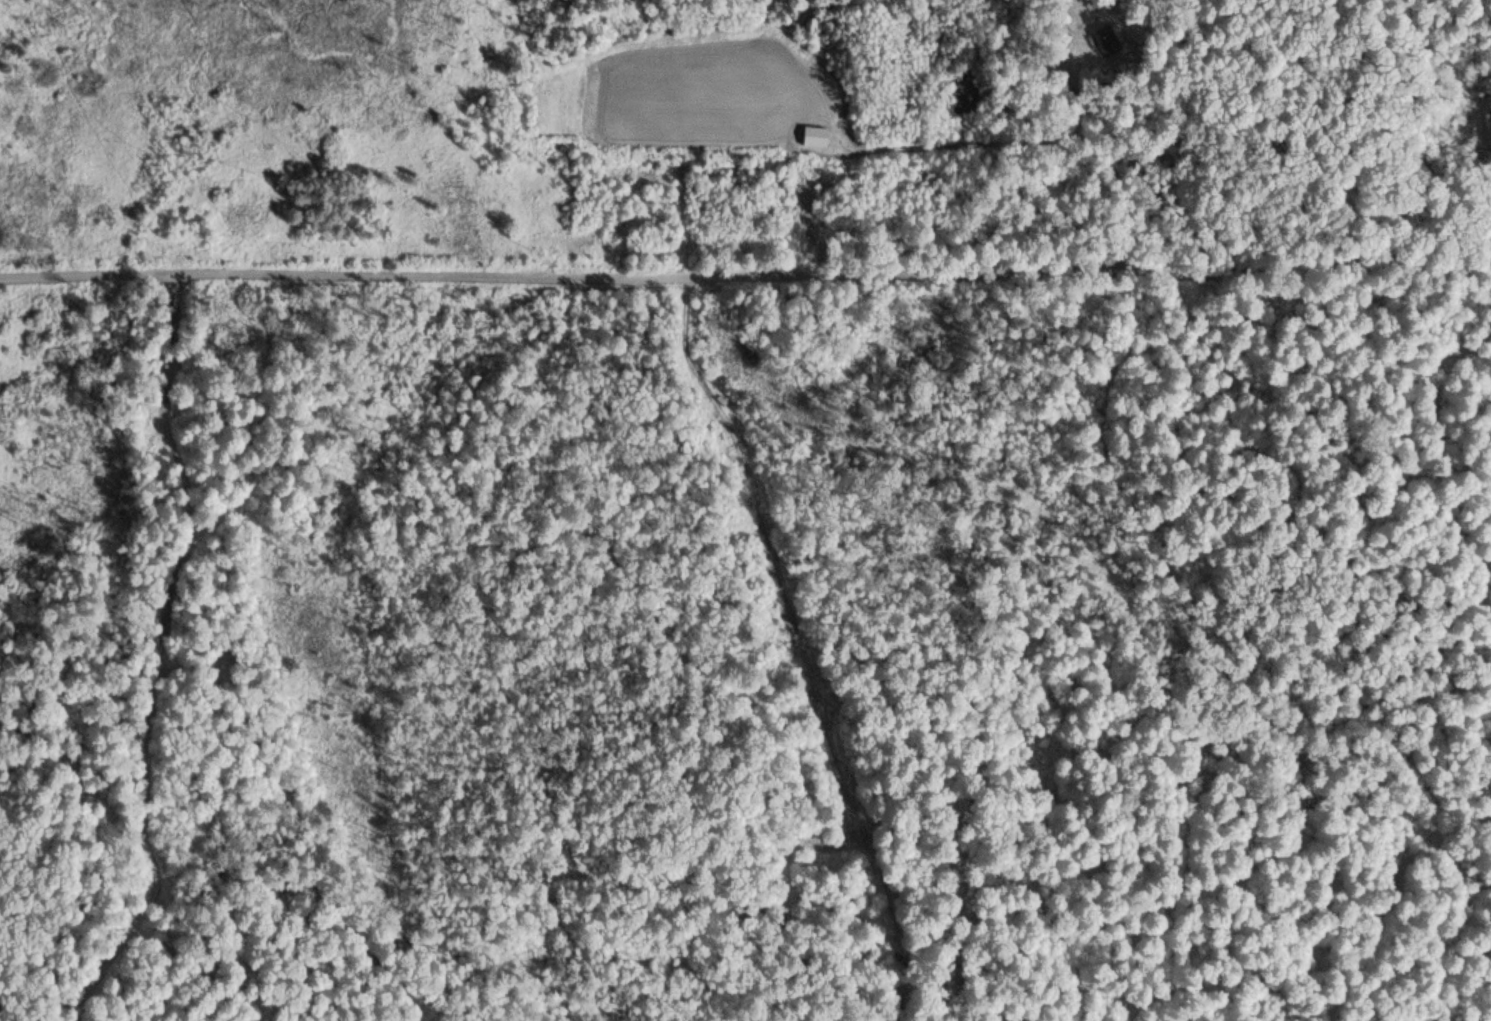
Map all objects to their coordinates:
building: (1105, 40)
road: (993, 136)
road: (745, 273)
road: (164, 654)

